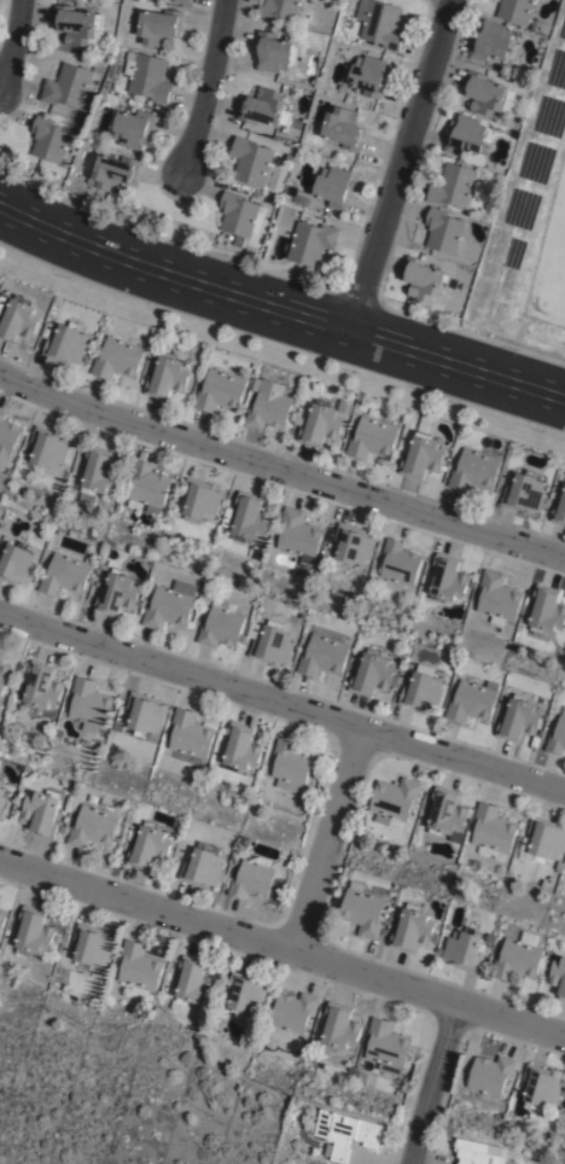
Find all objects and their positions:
building: (185, 1)
building: (279, 7)
building: (516, 8)
building: (75, 23)
building: (380, 23)
building: (159, 24)
road: (10, 37)
building: (490, 39)
building: (274, 51)
building: (368, 74)
building: (150, 75)
building: (68, 85)
road: (204, 88)
building: (489, 93)
building: (266, 105)
building: (132, 126)
building: (344, 126)
building: (465, 134)
building: (48, 138)
building: (251, 159)
road: (401, 168)
building: (112, 169)
building: (452, 184)
building: (336, 186)
building: (240, 214)
building: (442, 229)
building: (228, 235)
building: (238, 239)
building: (311, 240)
building: (423, 277)
road: (279, 313)
building: (18, 319)
building: (66, 343)
building: (118, 357)
building: (168, 376)
building: (221, 390)
building: (269, 405)
building: (320, 424)
building: (7, 437)
building: (372, 438)
building: (47, 448)
building: (423, 455)
road: (280, 470)
building: (474, 470)
building: (97, 475)
building: (147, 487)
building: (524, 493)
building: (200, 500)
building: (559, 511)
building: (250, 517)
building: (297, 532)
building: (354, 545)
building: (16, 563)
building: (400, 566)
building: (64, 575)
building: (445, 578)
building: (117, 593)
building: (497, 595)
building: (170, 605)
building: (546, 609)
building: (221, 624)
building: (270, 644)
building: (324, 652)
building: (4, 673)
building: (373, 675)
building: (41, 685)
building: (423, 692)
building: (472, 702)
building: (89, 704)
road: (280, 704)
building: (141, 714)
building: (518, 720)
building: (191, 734)
building: (557, 737)
building: (241, 747)
building: (290, 766)
building: (1, 799)
building: (392, 802)
building: (445, 813)
building: (41, 815)
building: (93, 827)
building: (491, 832)
road: (327, 838)
building: (542, 839)
building: (148, 846)
building: (202, 866)
building: (254, 879)
building: (365, 907)
building: (2, 920)
building: (413, 930)
building: (33, 933)
road: (282, 943)
building: (91, 947)
building: (464, 953)
building: (519, 958)
building: (139, 970)
building: (558, 978)
building: (192, 987)
building: (246, 994)
building: (293, 1013)
building: (342, 1029)
building: (386, 1047)
building: (490, 1076)
road: (432, 1083)
building: (541, 1088)
building: (345, 1135)
building: (295, 1143)
building: (480, 1153)

